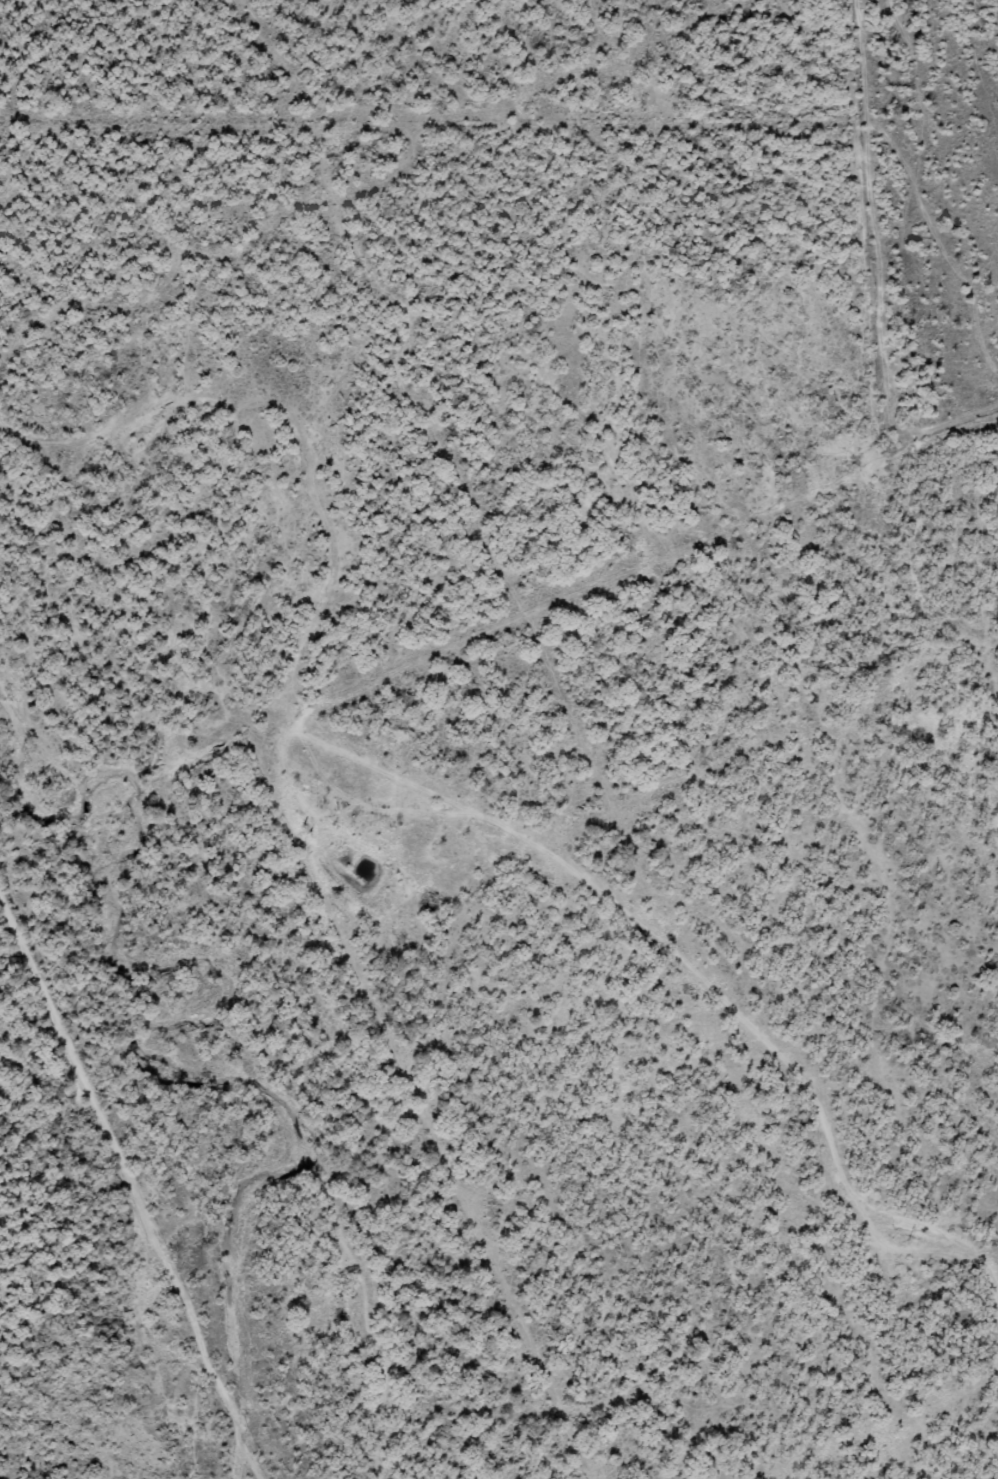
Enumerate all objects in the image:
road: (879, 186)

